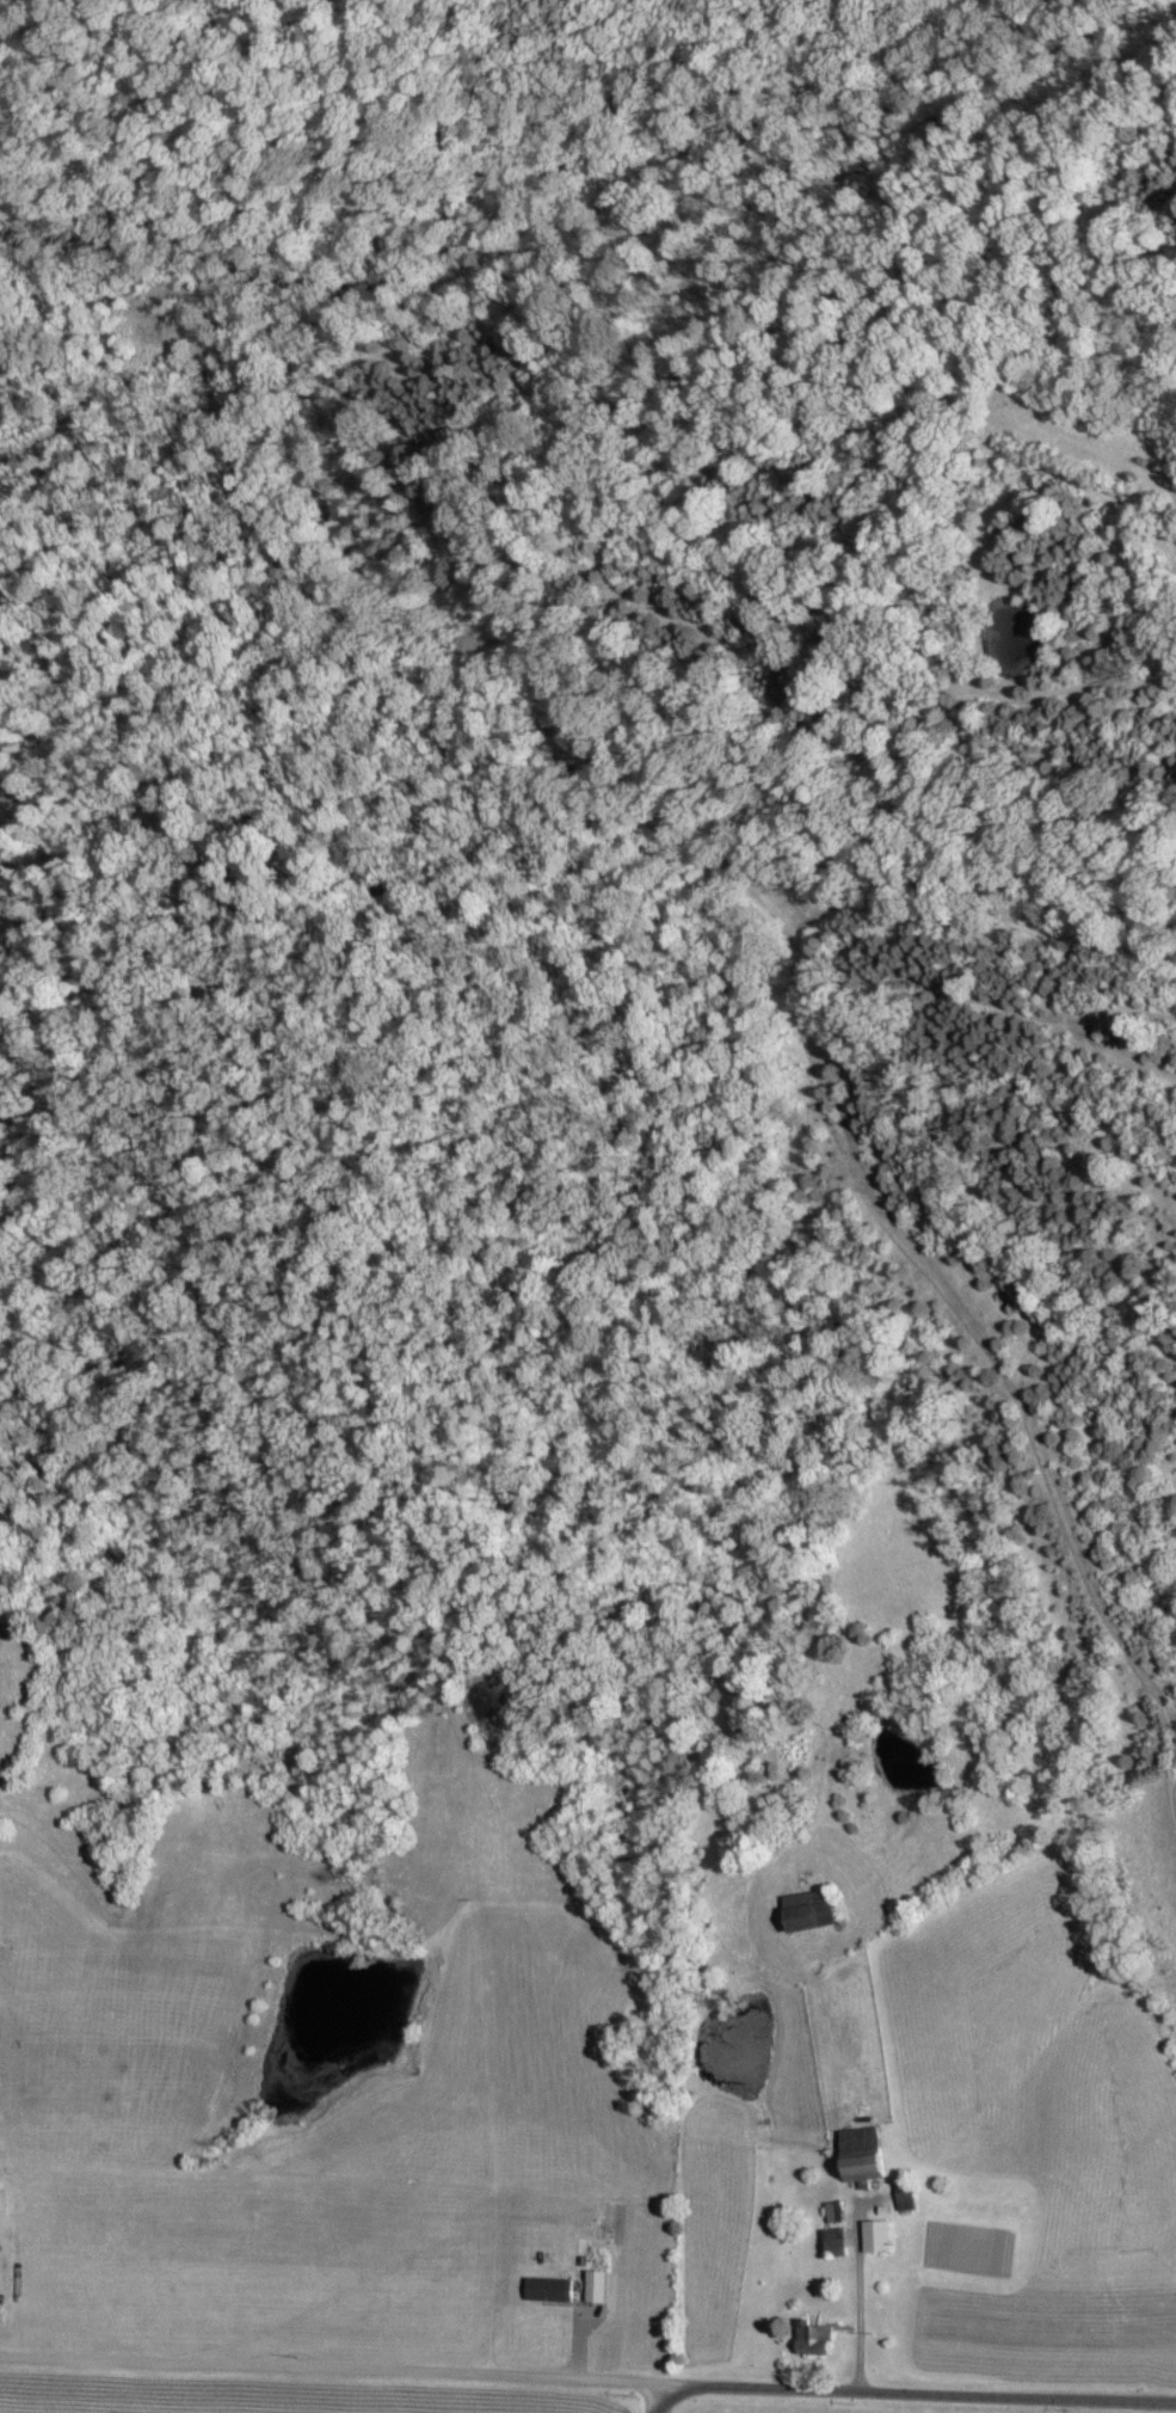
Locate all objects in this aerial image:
building: (813, 1911)
building: (863, 2154)
building: (905, 2199)
building: (878, 2239)
building: (837, 2243)
building: (598, 2288)
building: (549, 2291)
road: (863, 2319)
building: (814, 2343)
road: (337, 2366)
road: (921, 2394)
road: (663, 2405)

